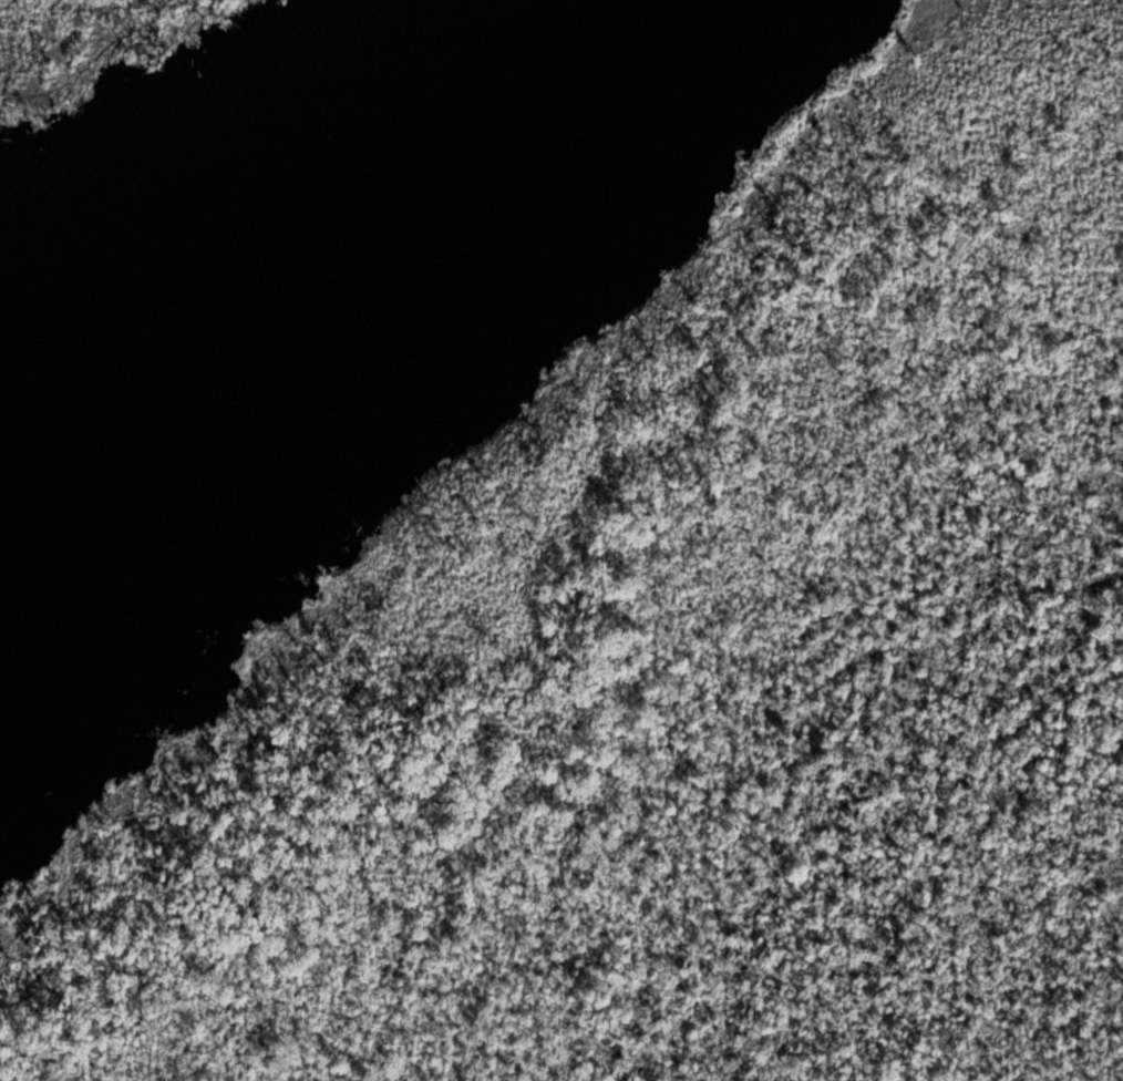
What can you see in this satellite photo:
river: (322, 219)

